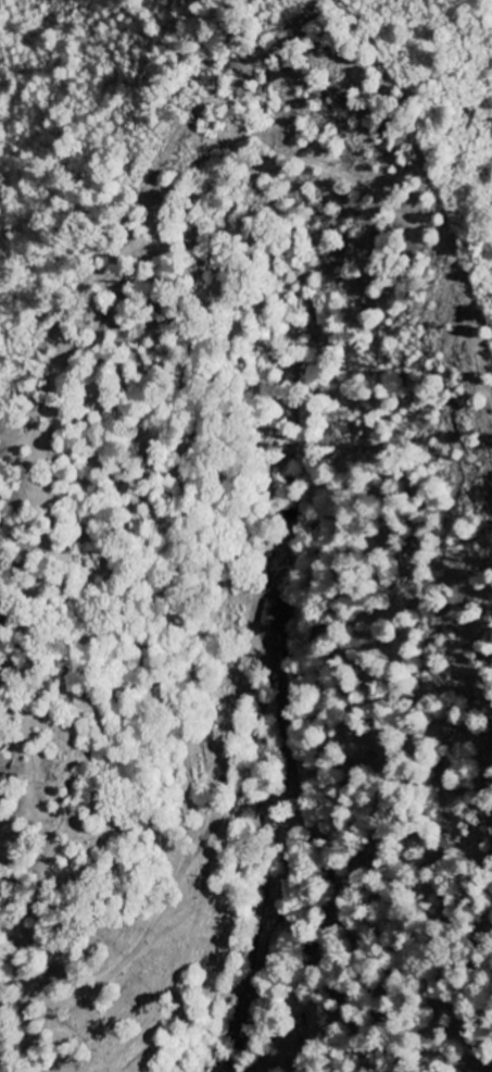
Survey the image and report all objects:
building: (268, 615)

